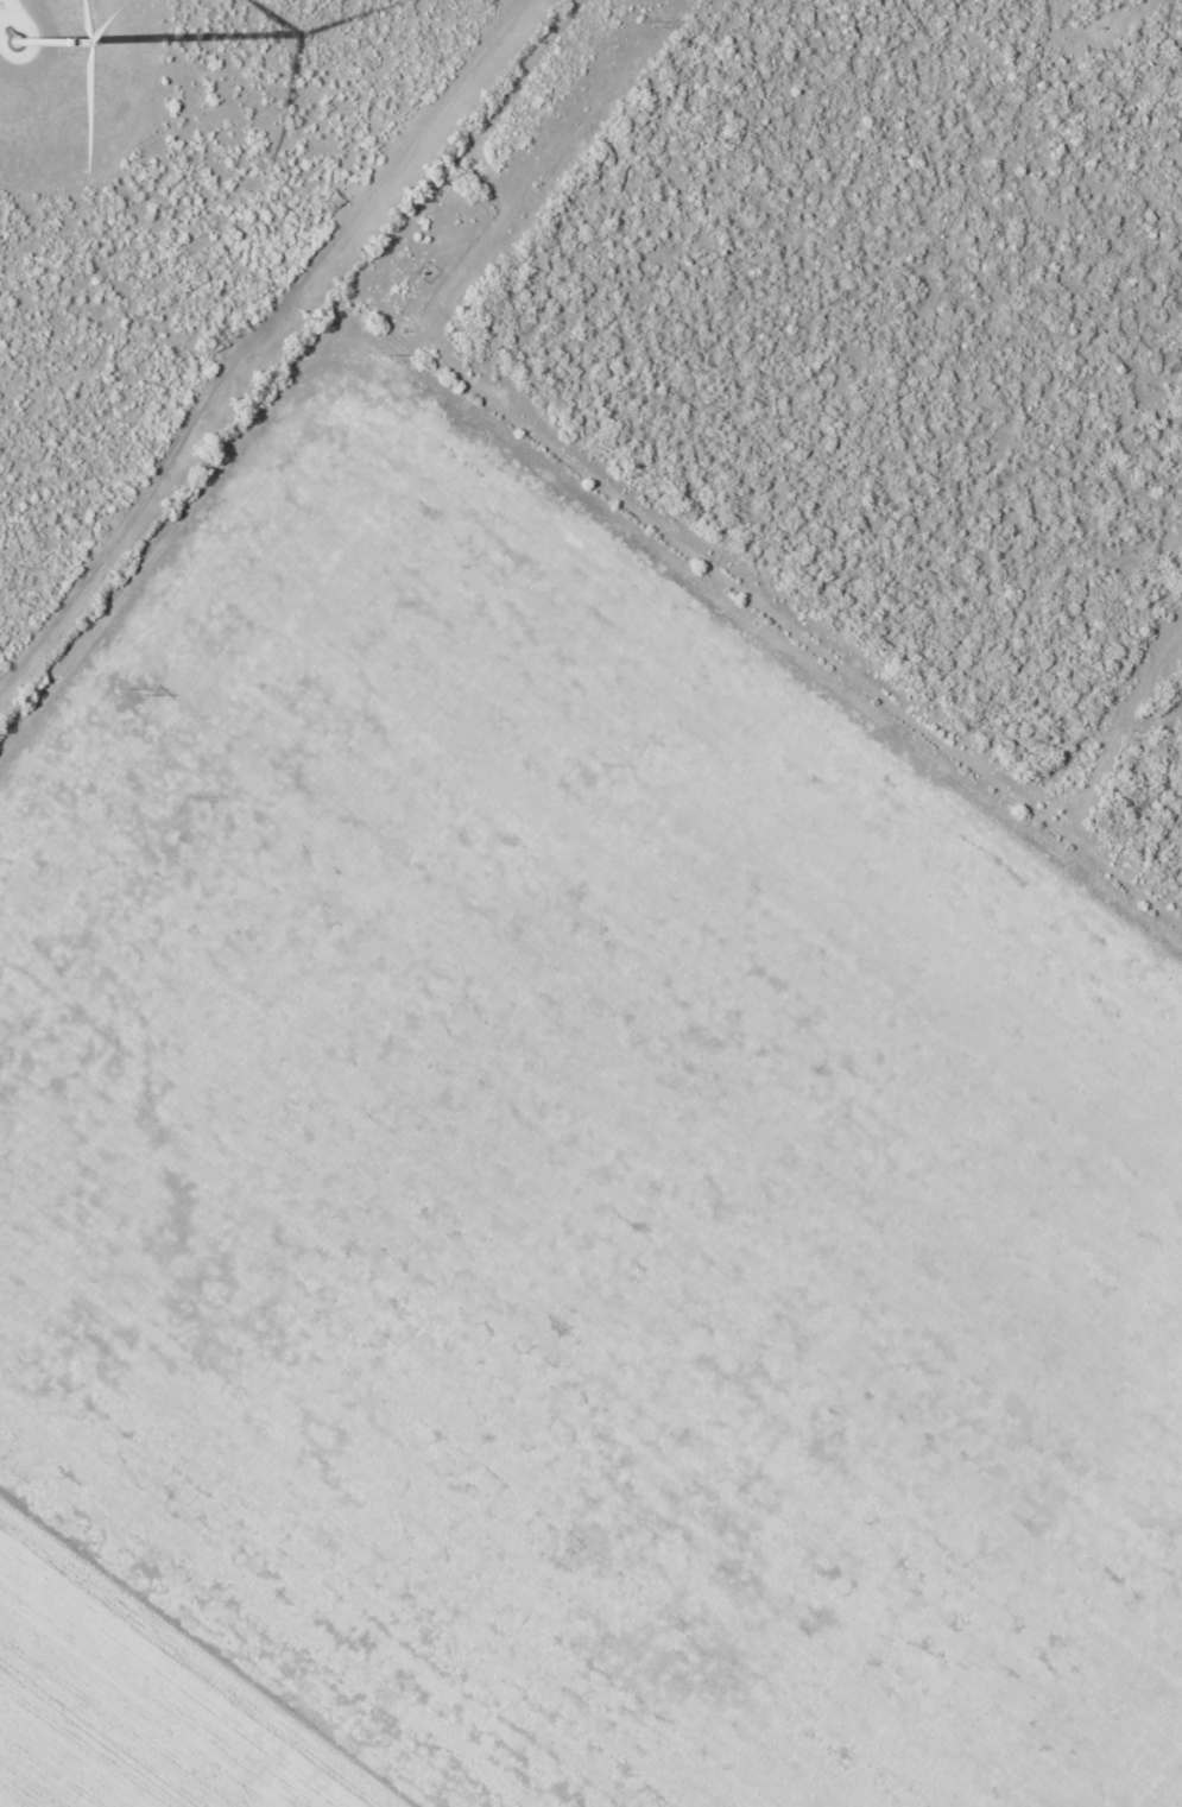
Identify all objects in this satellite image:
power tower: (649, 23)
wind turbine: (15, 37)
power tower: (390, 358)
power tower: (132, 690)

